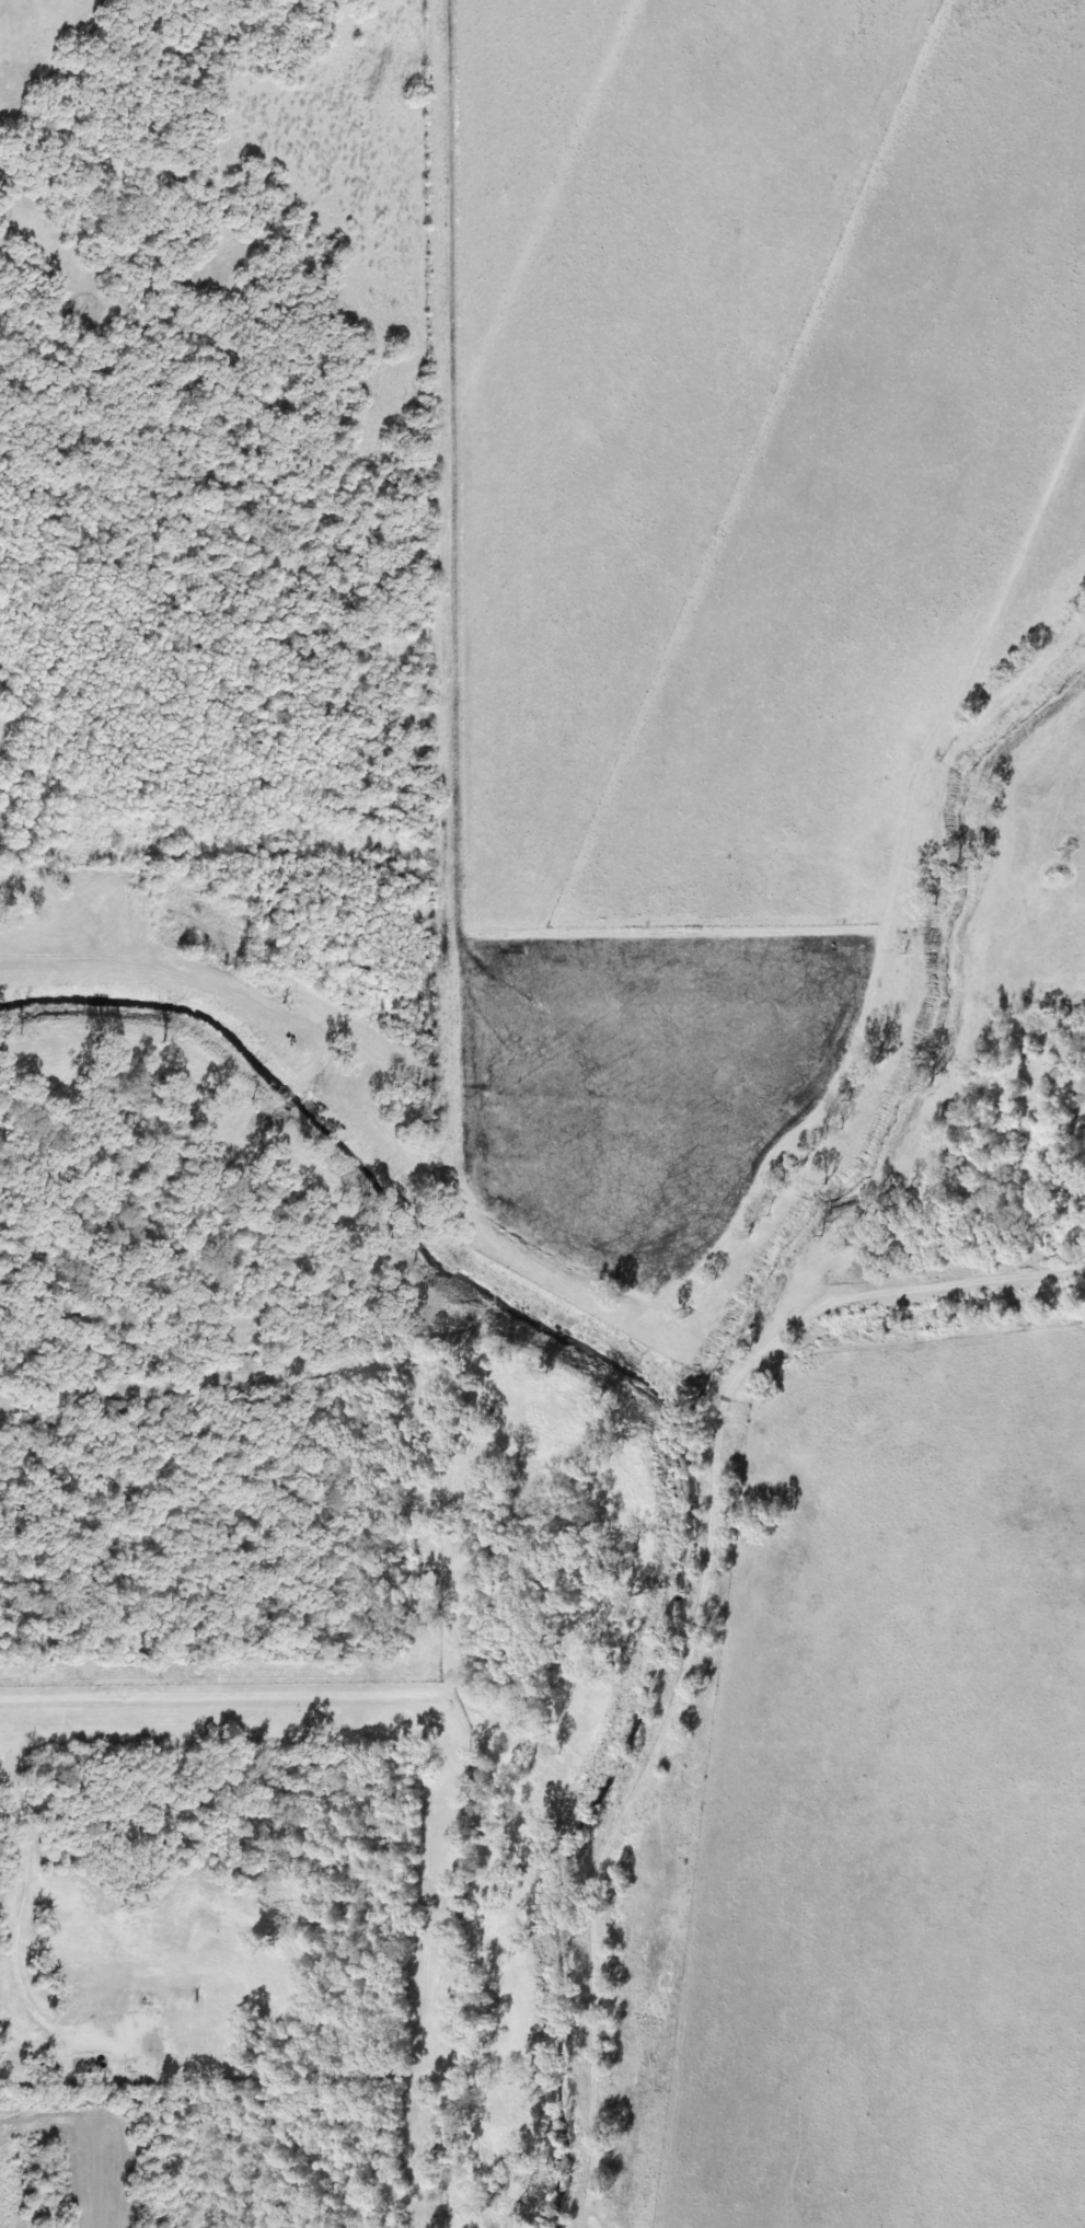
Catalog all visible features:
road: (986, 1296)
road: (9, 1958)

